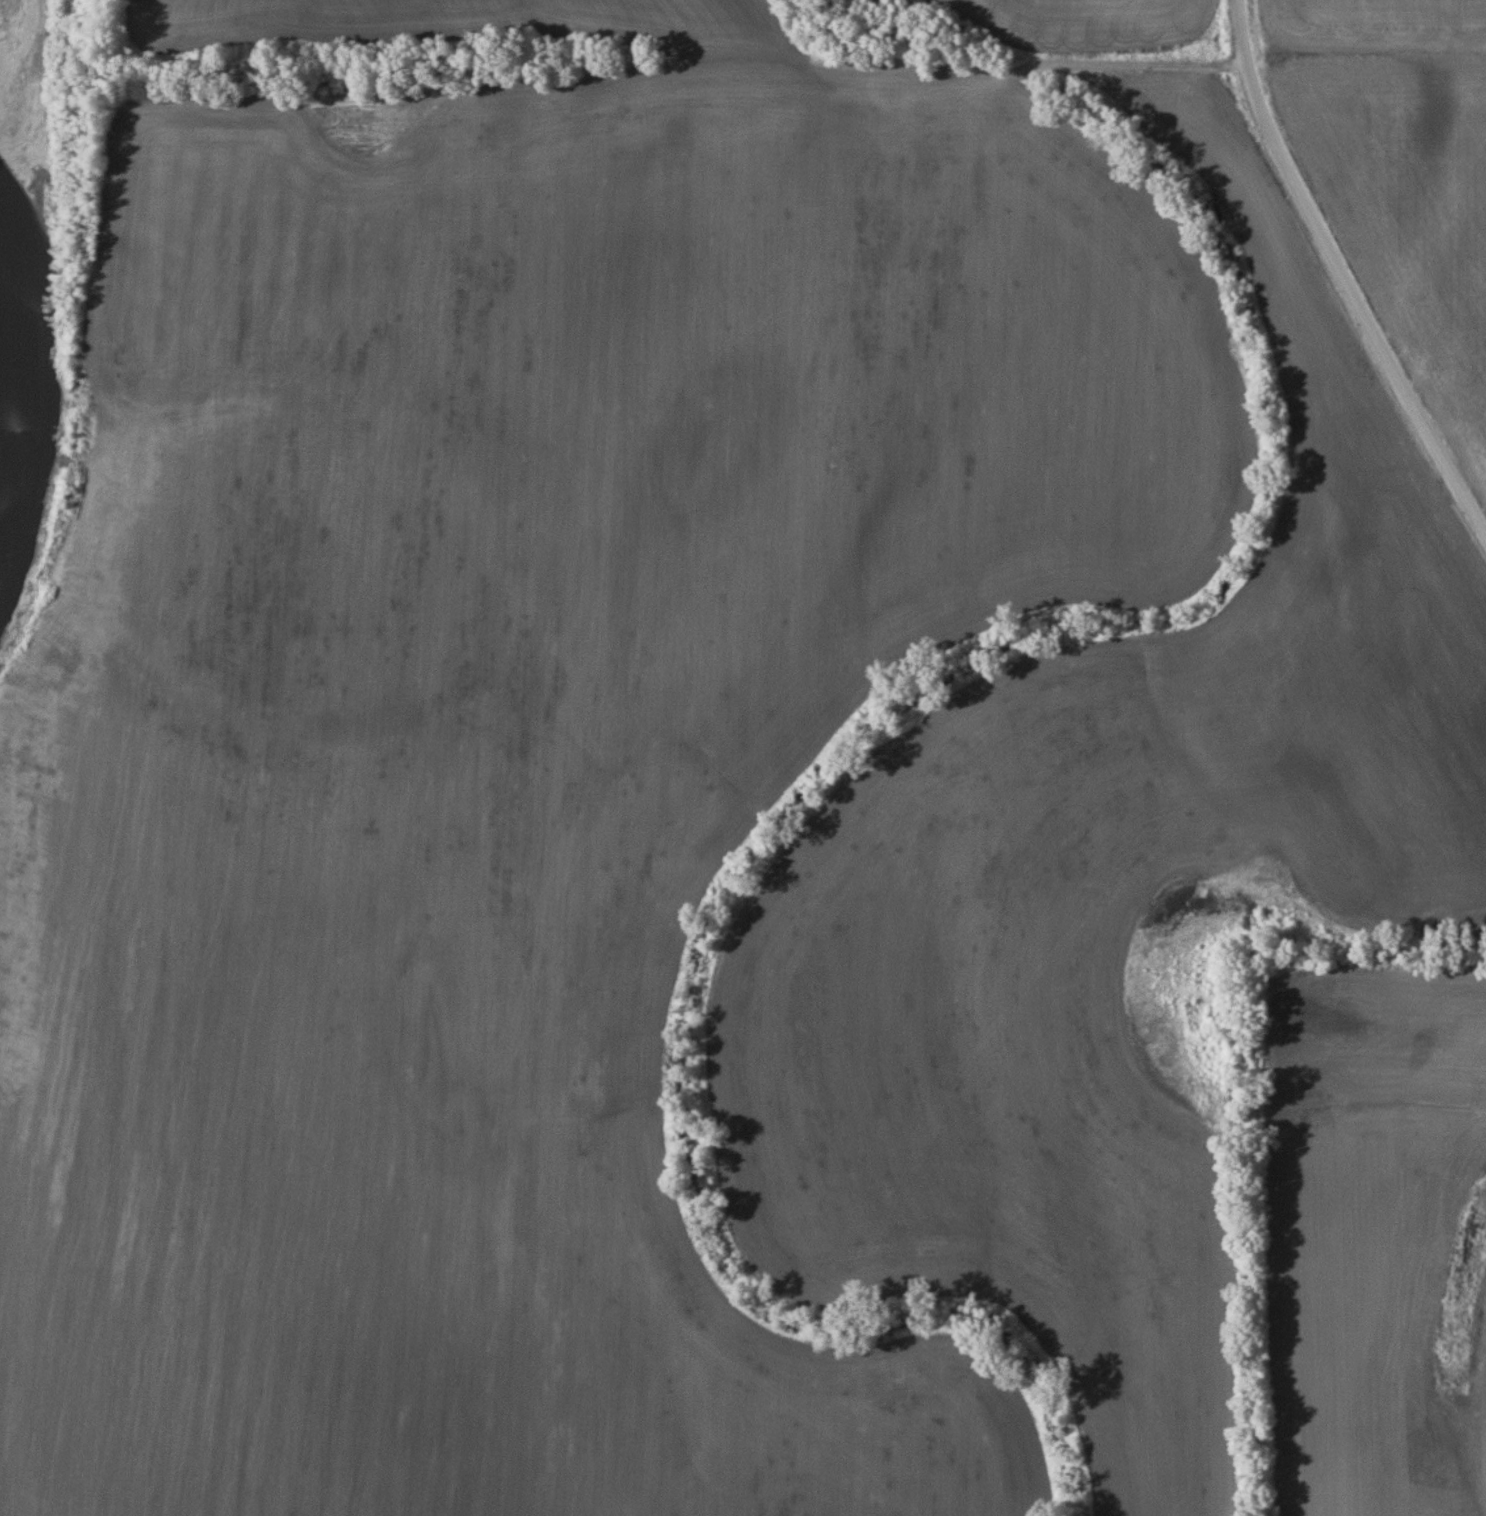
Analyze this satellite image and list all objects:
road: (683, 58)
road: (1343, 273)

